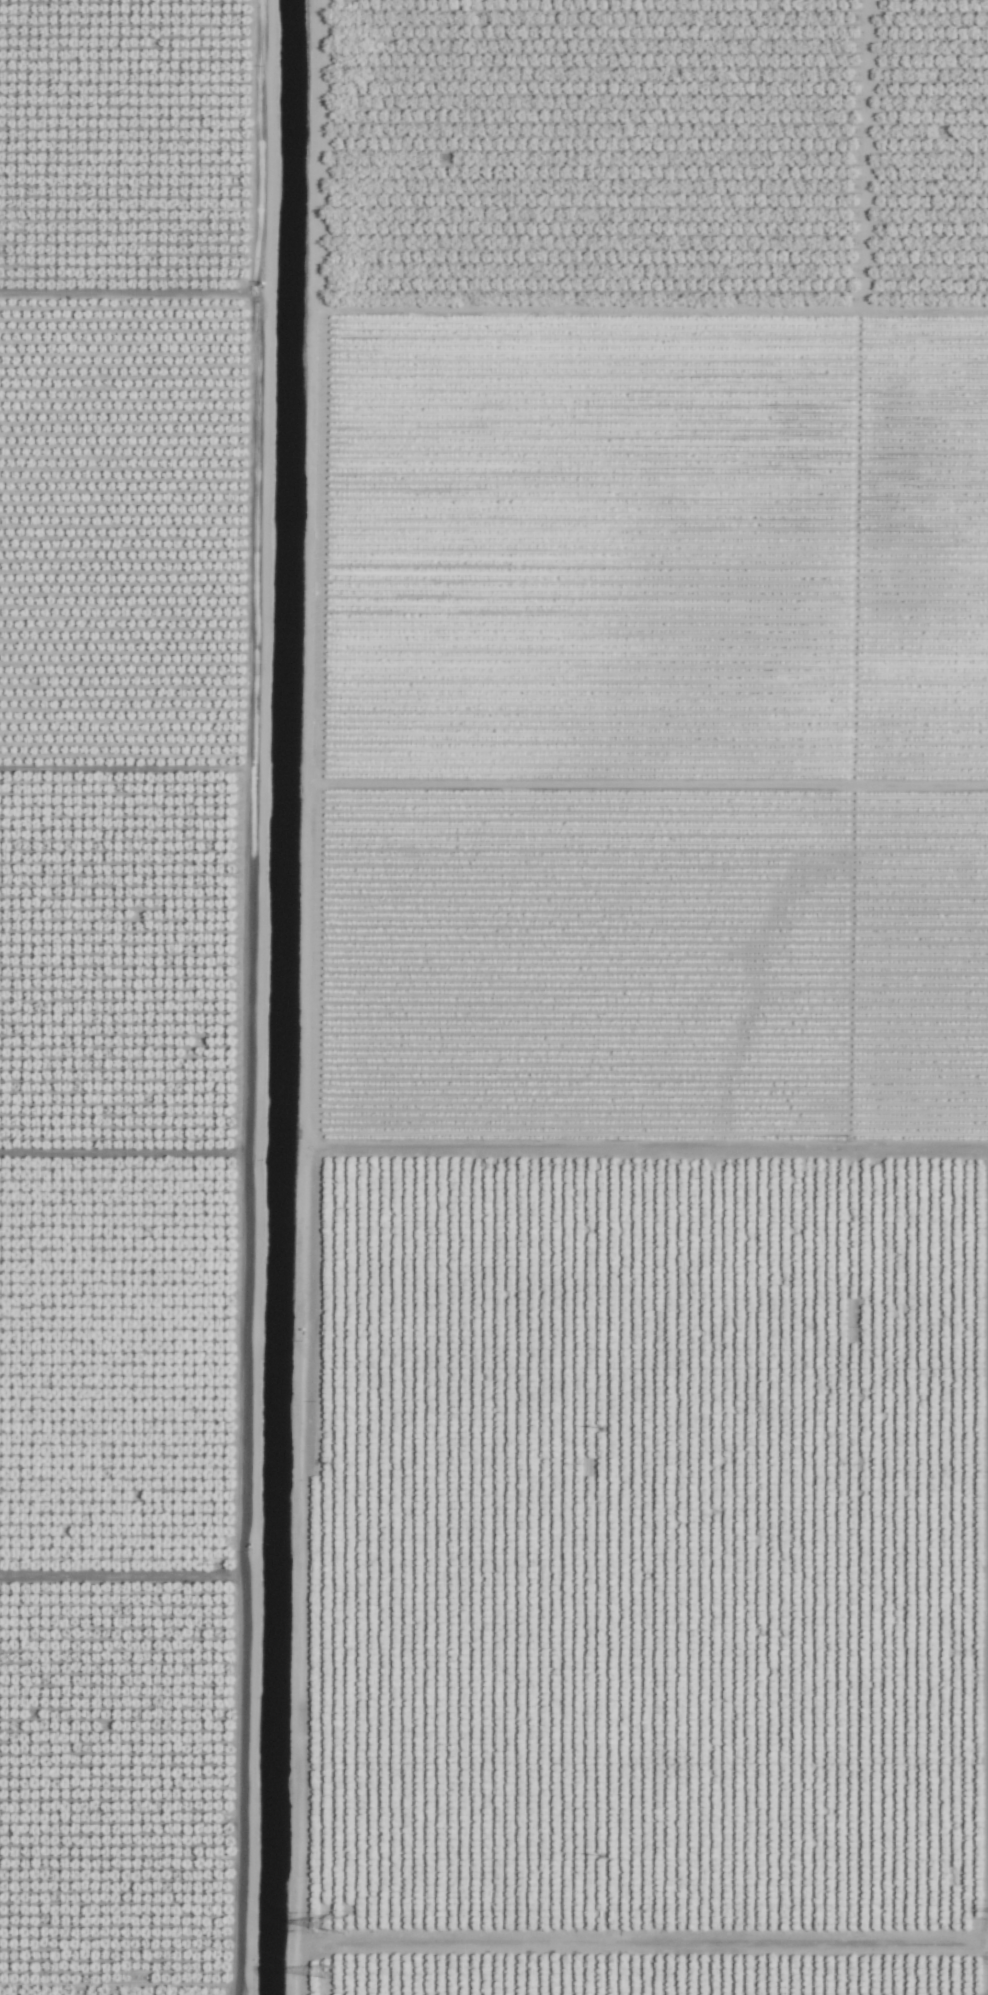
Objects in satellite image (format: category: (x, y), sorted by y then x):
power tower: (338, 1927)
power tower: (328, 1973)

